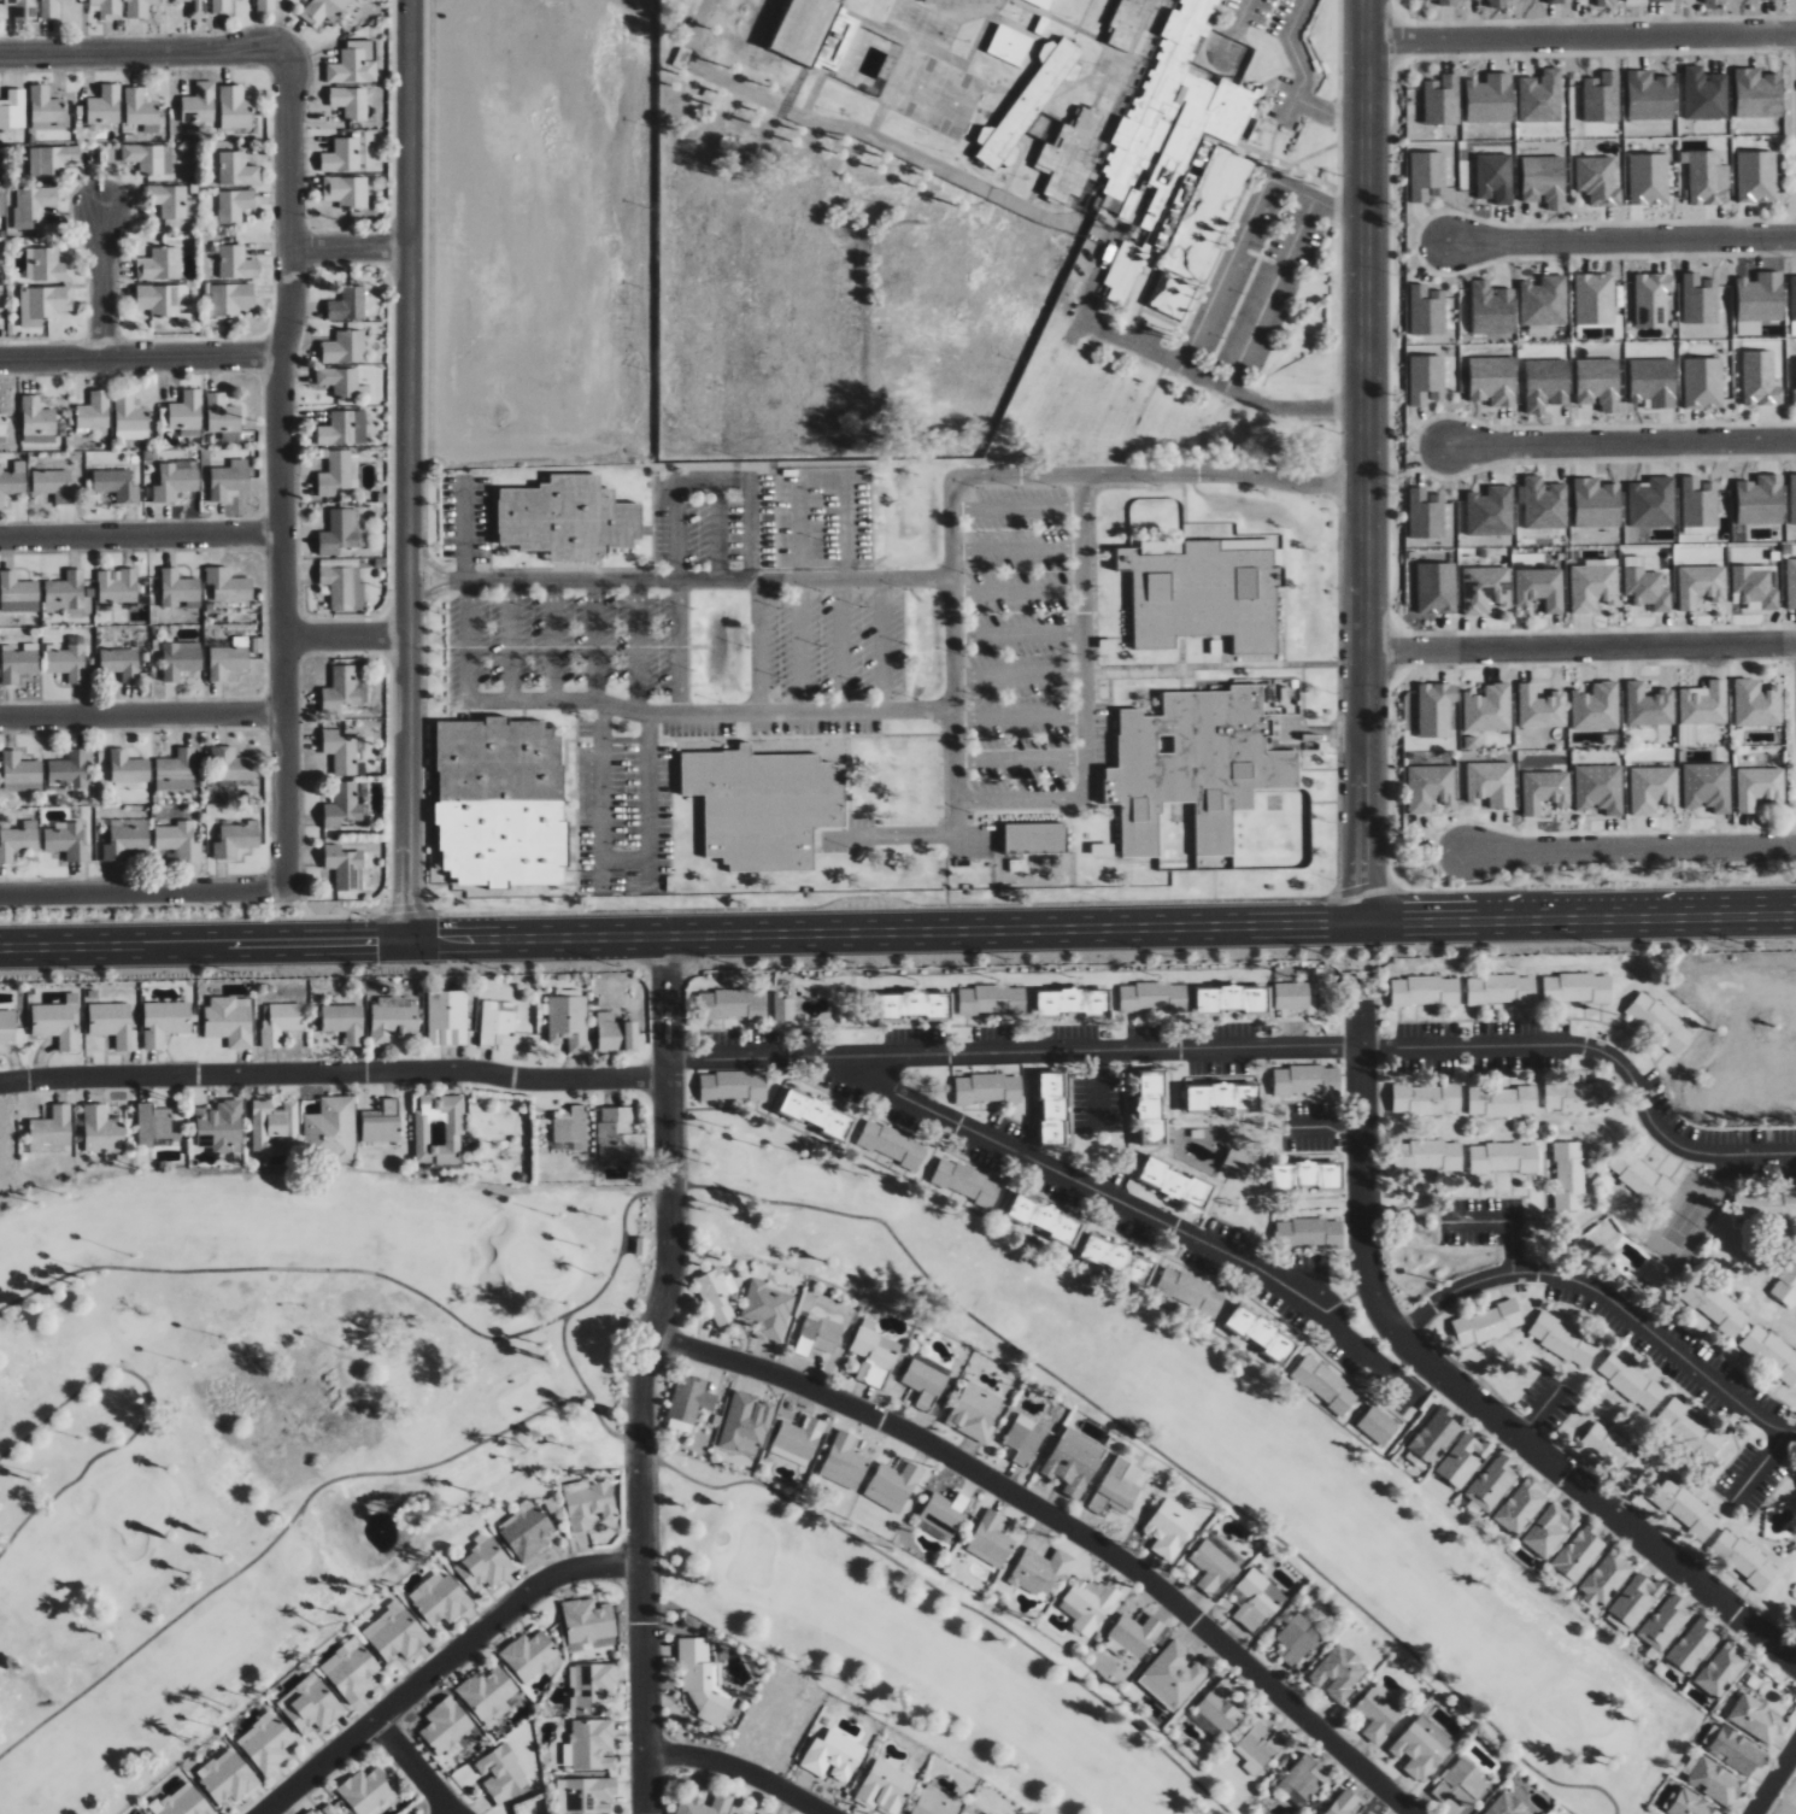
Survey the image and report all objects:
building: (1659, 0)
building: (956, 1)
building: (1555, 1)
building: (1712, 1)
building: (1041, 2)
building: (1448, 2)
building: (1604, 2)
building: (1496, 4)
building: (265, 5)
building: (221, 6)
building: (23, 8)
building: (49, 8)
building: (108, 8)
building: (137, 8)
building: (196, 8)
building: (323, 11)
building: (1128, 24)
road: (1237, 25)
building: (803, 29)
road: (1580, 37)
building: (1010, 45)
road: (140, 49)
road: (1297, 60)
building: (352, 65)
building: (1757, 93)
building: (1706, 94)
building: (1650, 95)
building: (1542, 96)
building: (1602, 98)
building: (1490, 99)
building: (1442, 100)
building: (350, 101)
building: (199, 102)
building: (1028, 102)
building: (45, 106)
building: (104, 106)
building: (140, 107)
building: (234, 107)
building: (13, 110)
building: (1174, 111)
road: (1328, 112)
road: (857, 130)
building: (342, 155)
building: (1068, 157)
building: (52, 159)
building: (237, 169)
building: (1427, 175)
building: (1756, 176)
building: (1495, 177)
building: (1649, 178)
building: (1708, 178)
building: (1598, 180)
building: (1544, 181)
building: (346, 190)
building: (169, 200)
building: (33, 204)
building: (234, 205)
road: (1245, 223)
road: (1621, 236)
road: (346, 246)
building: (236, 263)
building: (160, 264)
building: (47, 265)
building: (1123, 270)
road: (95, 275)
road: (1270, 293)
building: (1761, 297)
building: (231, 298)
building: (1792, 298)
building: (162, 299)
building: (1595, 299)
building: (1653, 299)
building: (1700, 299)
building: (1544, 301)
building: (43, 304)
building: (348, 305)
building: (1427, 310)
building: (1492, 310)
building: (345, 347)
road: (139, 353)
road: (1178, 365)
building: (1760, 378)
building: (339, 380)
building: (1492, 380)
building: (1653, 382)
building: (1703, 382)
building: (1598, 383)
building: (1545, 384)
building: (1794, 398)
building: (94, 411)
building: (187, 413)
building: (222, 413)
building: (129, 418)
building: (37, 421)
building: (2, 424)
building: (344, 428)
road: (1620, 445)
road: (1364, 462)
road: (405, 469)
road: (275, 471)
building: (334, 472)
building: (229, 479)
road: (711, 479)
road: (823, 479)
building: (12, 480)
building: (174, 482)
building: (53, 485)
building: (116, 485)
road: (950, 497)
building: (1792, 498)
building: (1760, 500)
building: (1596, 503)
building: (1653, 503)
building: (1698, 503)
building: (1544, 504)
building: (1491, 511)
building: (1426, 513)
building: (568, 518)
road: (715, 528)
road: (139, 533)
building: (339, 533)
road: (428, 570)
road: (700, 579)
building: (1791, 583)
building: (229, 585)
building: (1645, 585)
building: (1701, 585)
building: (117, 586)
building: (1593, 587)
building: (344, 588)
road: (428, 588)
building: (1437, 588)
building: (1485, 588)
building: (1540, 588)
building: (1754, 588)
building: (180, 589)
building: (16, 592)
building: (70, 593)
building: (1182, 599)
road: (344, 633)
road: (758, 644)
road: (799, 644)
road: (838, 644)
road: (882, 644)
road: (1581, 646)
building: (229, 658)
building: (69, 659)
building: (181, 659)
building: (19, 662)
building: (121, 662)
building: (342, 689)
road: (599, 699)
road: (1082, 699)
building: (1704, 704)
building: (1757, 704)
building: (1649, 705)
building: (1540, 708)
building: (1596, 708)
building: (1436, 709)
building: (1489, 709)
road: (141, 711)
building: (340, 752)
building: (231, 764)
building: (128, 767)
building: (1195, 767)
building: (69, 769)
building: (176, 771)
building: (20, 773)
building: (1492, 783)
building: (1708, 786)
building: (1430, 787)
building: (1760, 787)
building: (1600, 788)
building: (1653, 788)
building: (1545, 791)
road: (600, 793)
road: (646, 800)
building: (500, 803)
building: (764, 805)
building: (344, 806)
building: (125, 838)
building: (1035, 838)
building: (178, 840)
building: (235, 840)
building: (18, 841)
building: (68, 841)
road: (1632, 849)
road: (623, 858)
building: (345, 867)
road: (141, 888)
traffic signals: (409, 904)
road: (1581, 921)
road: (683, 935)
traffic signals: (438, 937)
traffic signals: (377, 938)
road: (657, 976)
road: (676, 976)
building: (1577, 987)
building: (1501, 990)
building: (1425, 991)
building: (1292, 996)
building: (1152, 997)
building: (992, 999)
building: (1231, 999)
building: (1072, 1002)
road: (667, 1004)
building: (732, 1004)
building: (915, 1005)
building: (782, 1008)
building: (447, 1017)
building: (393, 1020)
building: (498, 1020)
building: (230, 1021)
building: (58, 1022)
building: (164, 1022)
building: (280, 1022)
building: (345, 1022)
building: (568, 1022)
building: (1660, 1022)
building: (112, 1023)
building: (7, 1027)
building: (617, 1037)
road: (658, 1040)
road: (677, 1040)
road: (1014, 1052)
road: (1602, 1052)
road: (334, 1072)
building: (1307, 1080)
building: (733, 1085)
building: (988, 1088)
building: (1221, 1097)
building: (1579, 1097)
building: (1427, 1099)
building: (1502, 1102)
building: (1151, 1108)
building: (1053, 1109)
building: (817, 1114)
building: (382, 1122)
building: (272, 1123)
building: (154, 1126)
building: (221, 1127)
building: (571, 1127)
building: (52, 1128)
building: (439, 1128)
building: (101, 1129)
building: (330, 1129)
building: (618, 1135)
building: (892, 1144)
building: (1428, 1155)
building: (1503, 1157)
road: (1363, 1161)
building: (1238, 1163)
building: (1305, 1175)
building: (1569, 1176)
building: (1641, 1176)
building: (967, 1182)
building: (1174, 1182)
building: (1765, 1207)
road: (1133, 1208)
building: (1045, 1219)
road: (1503, 1221)
building: (1309, 1233)
building: (641, 1246)
building: (1116, 1260)
road: (380, 1274)
building: (1659, 1275)
building: (1786, 1286)
building: (1191, 1292)
building: (718, 1296)
road: (1609, 1297)
building: (1715, 1307)
building: (768, 1309)
building: (1487, 1323)
building: (1262, 1333)
building: (818, 1334)
building: (1563, 1340)
building: (874, 1351)
building: (1771, 1354)
building: (926, 1379)
building: (1631, 1381)
building: (1325, 1385)
road: (586, 1390)
building: (688, 1402)
road: (146, 1410)
building: (973, 1411)
building: (746, 1422)
building: (1378, 1425)
building: (1690, 1430)
road: (640, 1434)
building: (1436, 1436)
building: (799, 1437)
building: (1025, 1439)
building: (1615, 1451)
road: (1164, 1456)
building: (1463, 1458)
building: (845, 1461)
building: (1074, 1461)
park: (640, 1468)
road: (1760, 1468)
building: (1492, 1481)
building: (1119, 1486)
road: (1597, 1501)
building: (588, 1504)
building: (1521, 1505)
building: (1686, 1508)
building: (944, 1511)
road: (1061, 1524)
building: (1169, 1527)
building: (524, 1530)
building: (1549, 1530)
fountain: (376, 1536)
road: (278, 1538)
building: (991, 1538)
building: (1579, 1552)
building: (1744, 1558)
building: (485, 1564)
building: (1211, 1567)
building: (1041, 1571)
building: (1607, 1575)
building: (1256, 1595)
building: (439, 1598)
road: (949, 1598)
building: (1634, 1601)
building: (1088, 1604)
building: (1665, 1622)
building: (588, 1624)
building: (395, 1632)
building: (1135, 1633)
building: (1297, 1639)
building: (1694, 1645)
building: (529, 1654)
road: (442, 1665)
building: (351, 1669)
building: (1722, 1669)
building: (1338, 1672)
building: (1174, 1674)
building: (703, 1680)
building: (591, 1686)
building: (487, 1691)
building: (517, 1699)
building: (311, 1704)
building: (1220, 1709)
building: (1378, 1712)
building: (1756, 1719)
building: (446, 1726)
building: (266, 1742)
building: (589, 1744)
building: (1260, 1747)
building: (1733, 1749)
building: (1418, 1751)
building: (833, 1755)
road: (413, 1766)
road: (740, 1768)
building: (501, 1773)
building: (227, 1775)
road: (1774, 1780)
building: (1301, 1781)
building: (1716, 1781)
building: (1461, 1783)
building: (885, 1787)
building: (366, 1790)
building: (591, 1795)
building: (182, 1801)
building: (688, 1801)
building: (1344, 1803)
building: (933, 1804)
building: (1689, 1804)
building: (1507, 1806)
building: (324, 1810)
building: (142, 1813)
building: (741, 1813)
building: (765, 1813)
building: (988, 1813)

